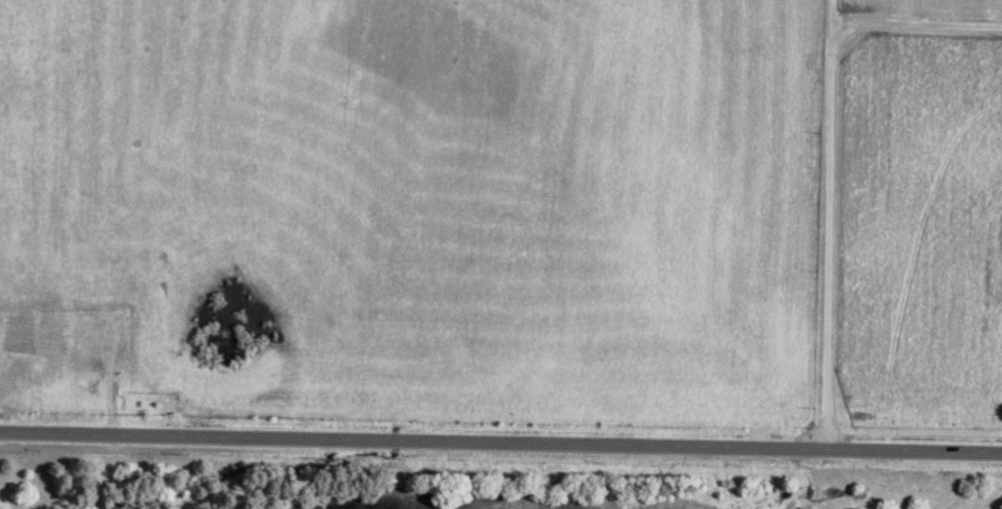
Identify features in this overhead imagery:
road: (918, 24)
road: (829, 225)
road: (501, 442)

